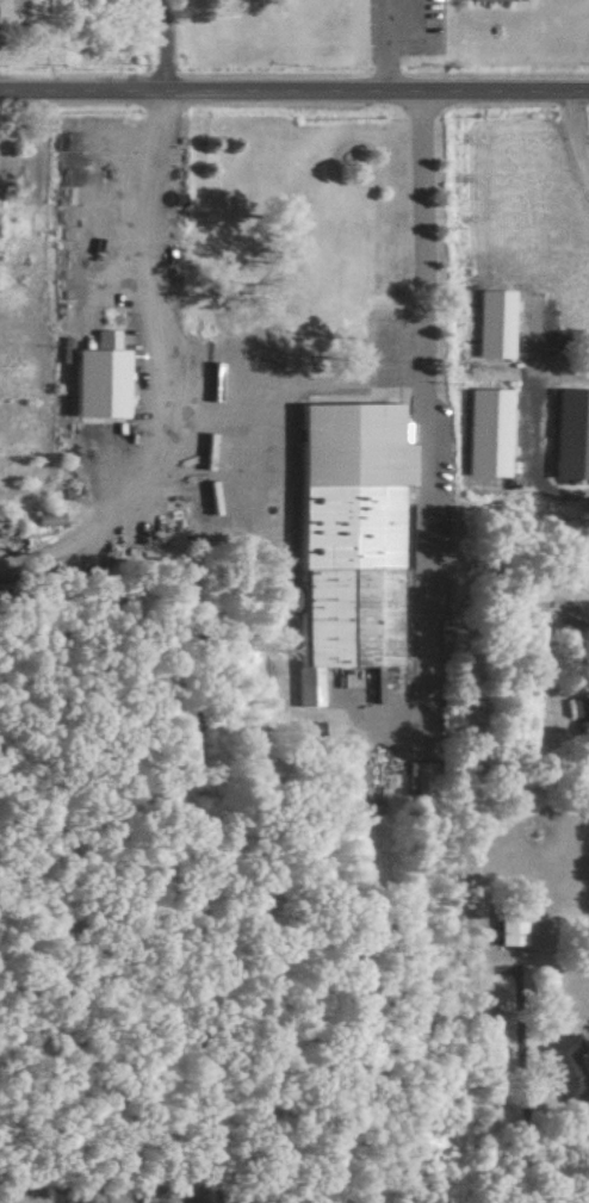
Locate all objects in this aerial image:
parking lot: (402, 24)
park: (391, 26)
road: (166, 45)
road: (294, 93)
road: (571, 142)
road: (147, 371)
building: (99, 378)
road: (423, 423)
building: (571, 433)
building: (354, 532)
building: (533, 596)
road: (568, 627)
building: (581, 713)
building: (510, 922)
building: (562, 1064)

